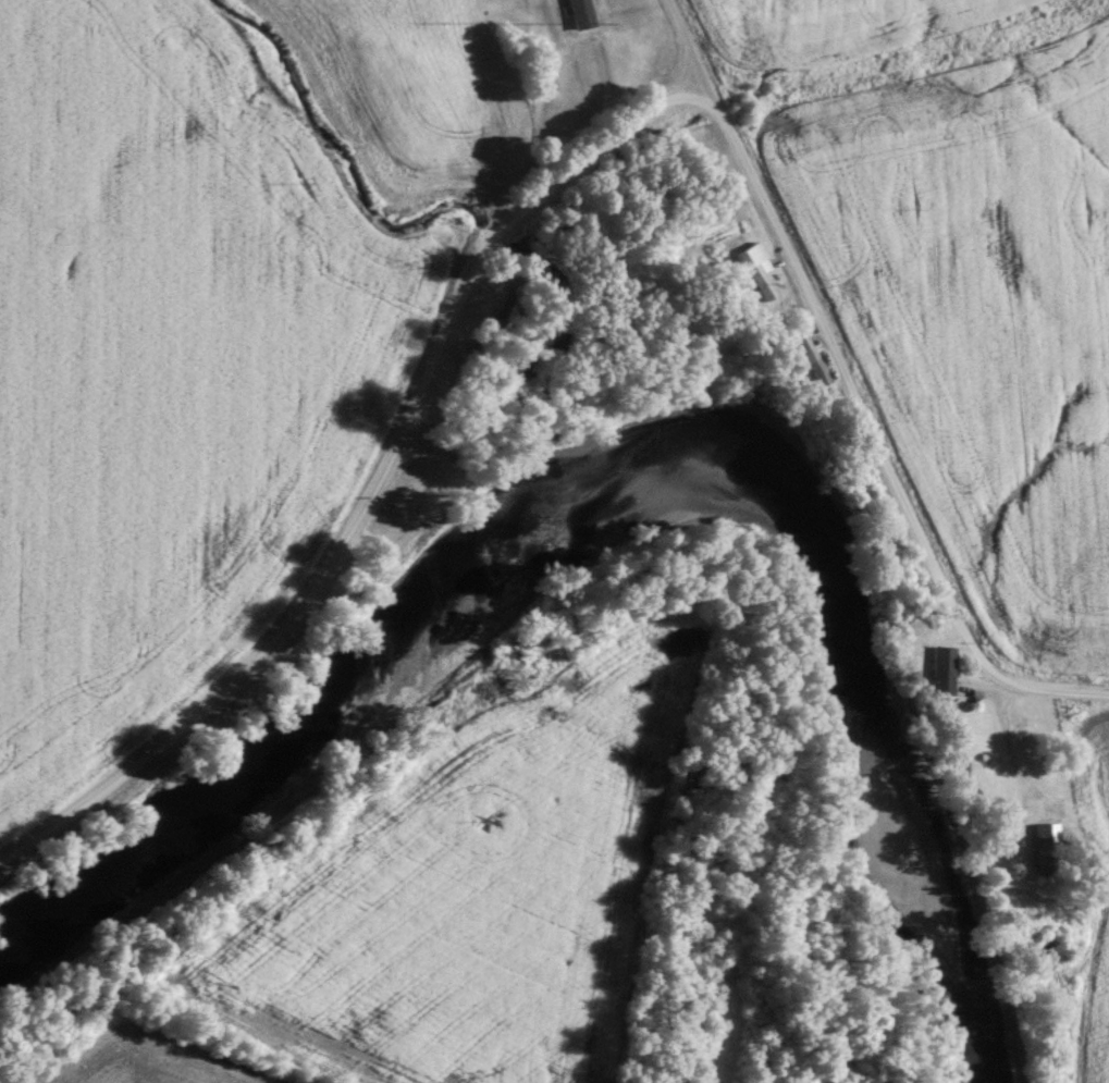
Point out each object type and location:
building: (581, 11)
building: (757, 268)
building: (809, 358)
road: (853, 392)
river: (628, 481)
road: (378, 483)
building: (940, 669)
building: (1047, 845)

